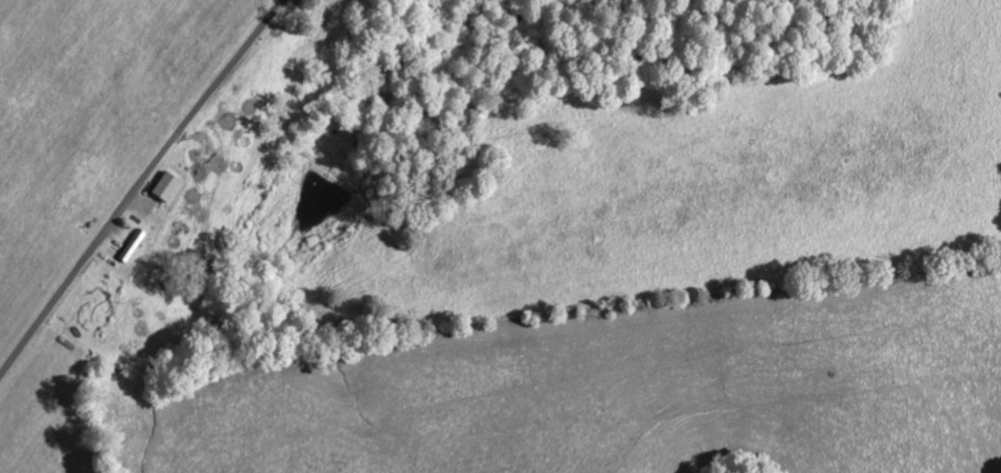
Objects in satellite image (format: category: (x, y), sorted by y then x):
road: (138, 185)
building: (169, 185)

